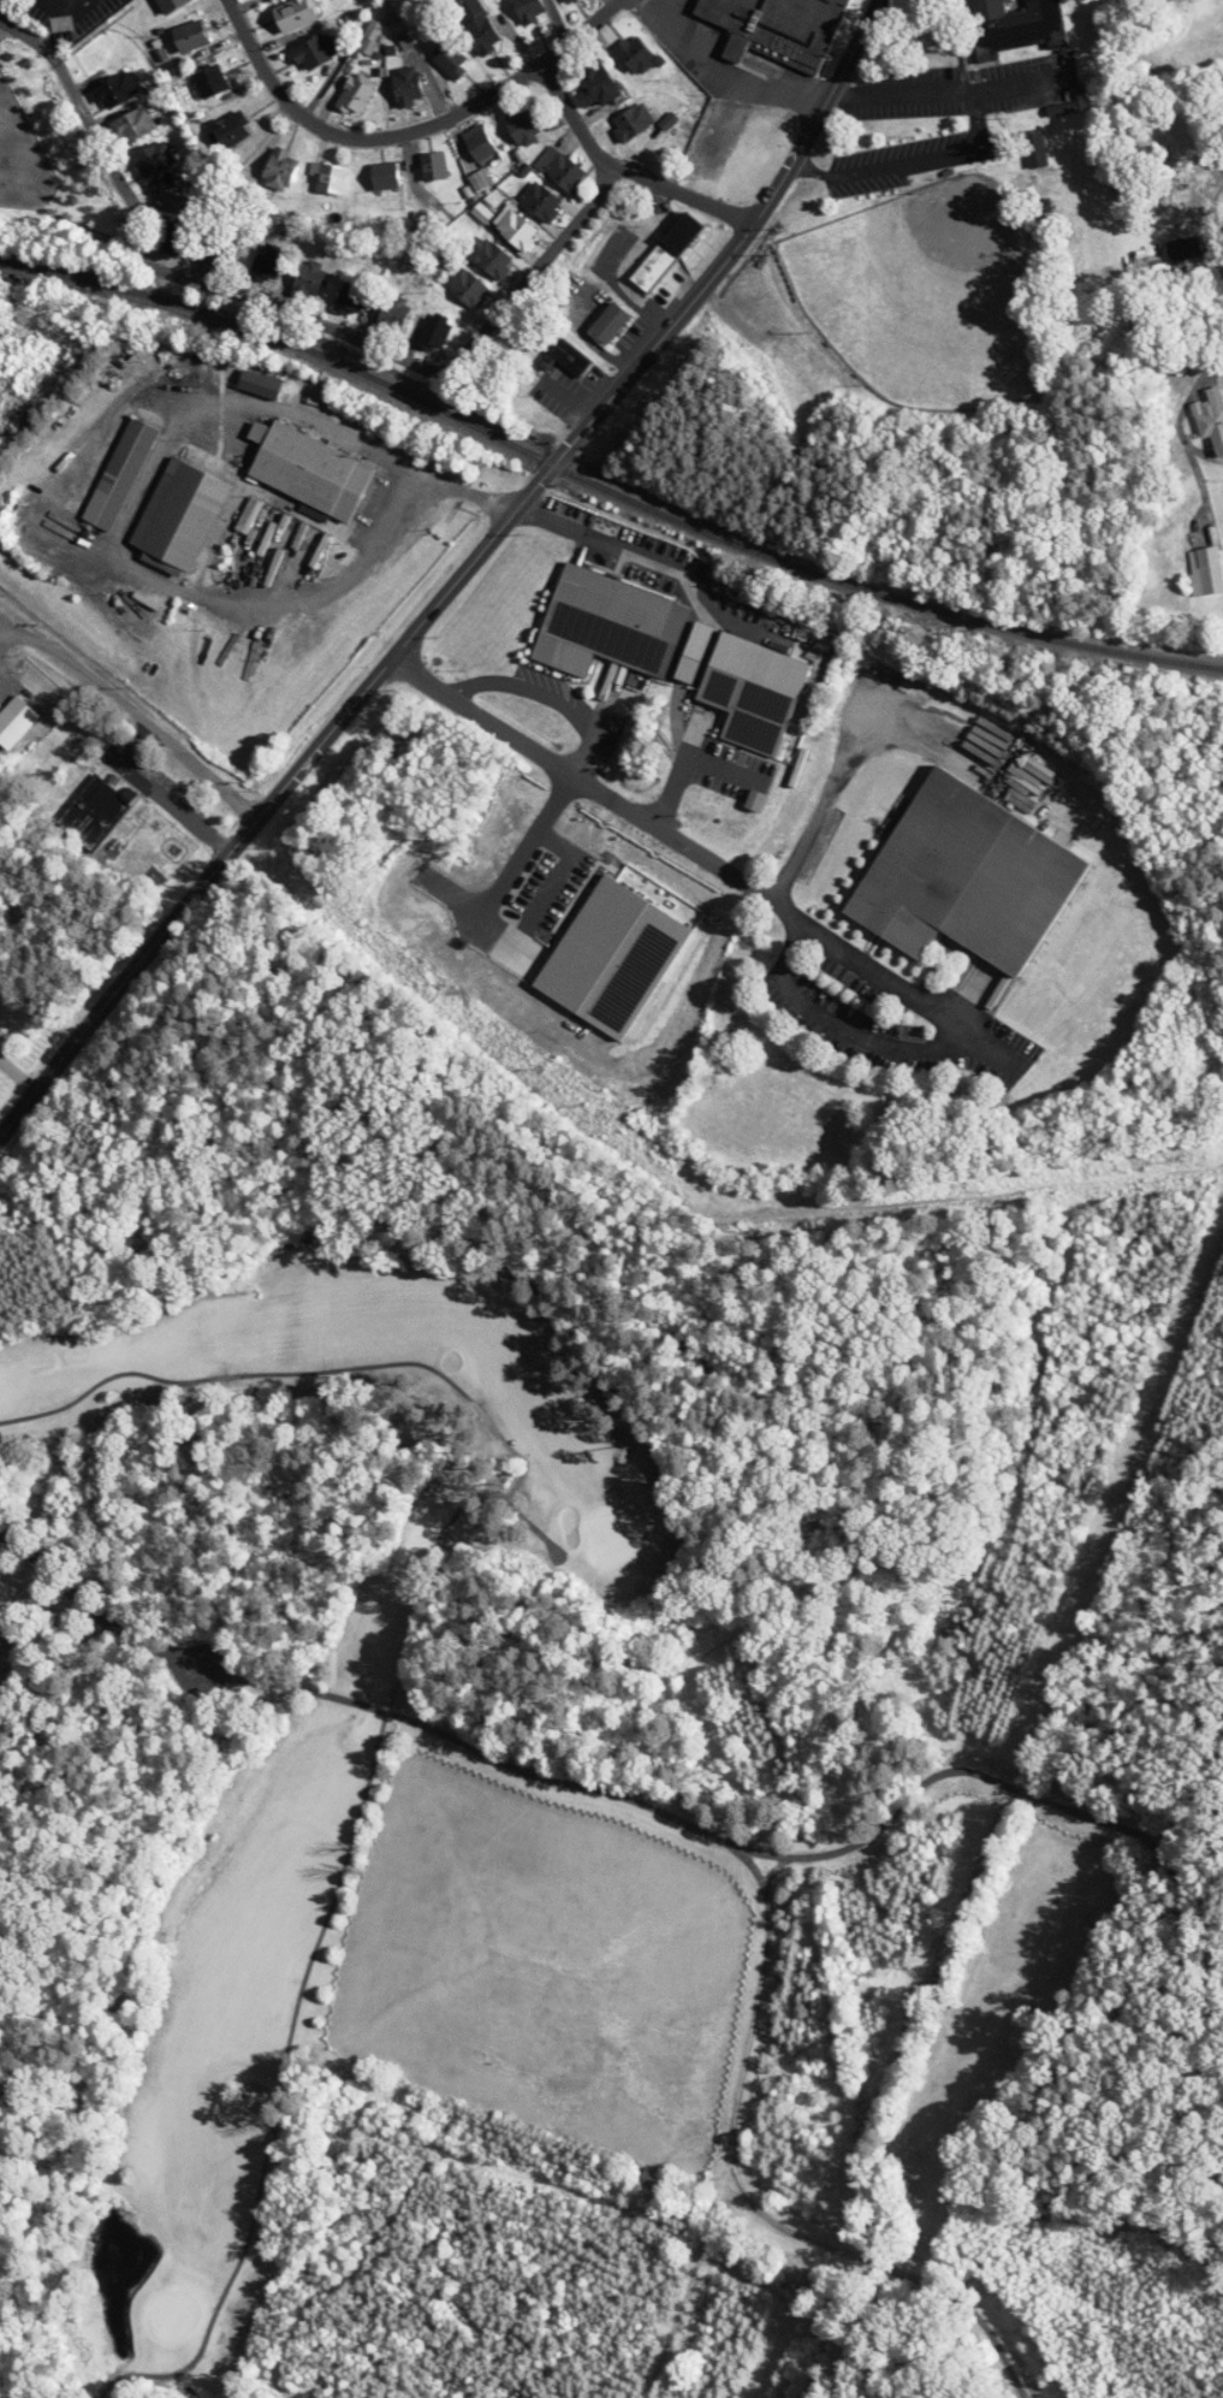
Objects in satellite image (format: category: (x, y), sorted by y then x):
building: (566, 0)
building: (172, 5)
road: (70, 6)
building: (530, 10)
building: (297, 14)
building: (480, 25)
building: (1015, 26)
building: (780, 28)
building: (191, 36)
building: (606, 36)
building: (372, 37)
building: (316, 52)
building: (637, 54)
building: (452, 59)
road: (725, 75)
building: (212, 81)
road: (1017, 83)
building: (408, 85)
building: (599, 87)
building: (119, 89)
road: (904, 91)
building: (357, 93)
building: (1071, 103)
road: (976, 117)
building: (633, 122)
building: (135, 124)
building: (524, 126)
building: (232, 131)
road: (408, 131)
building: (480, 143)
building: (154, 159)
building: (434, 166)
road: (625, 167)
road: (885, 167)
building: (281, 168)
building: (563, 170)
building: (386, 174)
building: (330, 177)
building: (481, 180)
building: (542, 201)
building: (482, 212)
building: (425, 220)
building: (517, 230)
building: (180, 235)
building: (224, 248)
building: (667, 253)
building: (492, 257)
building: (267, 262)
building: (310, 278)
building: (469, 288)
park: (920, 292)
building: (352, 296)
road: (287, 310)
building: (394, 313)
building: (611, 322)
building: (435, 333)
building: (568, 360)
building: (261, 384)
road: (1181, 415)
building: (1211, 416)
building: (313, 472)
building: (121, 474)
railway: (604, 484)
building: (182, 515)
road: (382, 532)
road: (602, 541)
building: (1206, 572)
road: (457, 579)
building: (610, 626)
road: (524, 688)
road: (131, 712)
building: (16, 721)
road: (598, 722)
road: (683, 763)
road: (825, 800)
building: (95, 811)
road: (520, 835)
road: (708, 858)
building: (968, 877)
road: (839, 1026)
road: (109, 1618)
park: (238, 1715)
road: (488, 1754)
road: (987, 1775)
building: (652, 2178)
road: (746, 2195)

